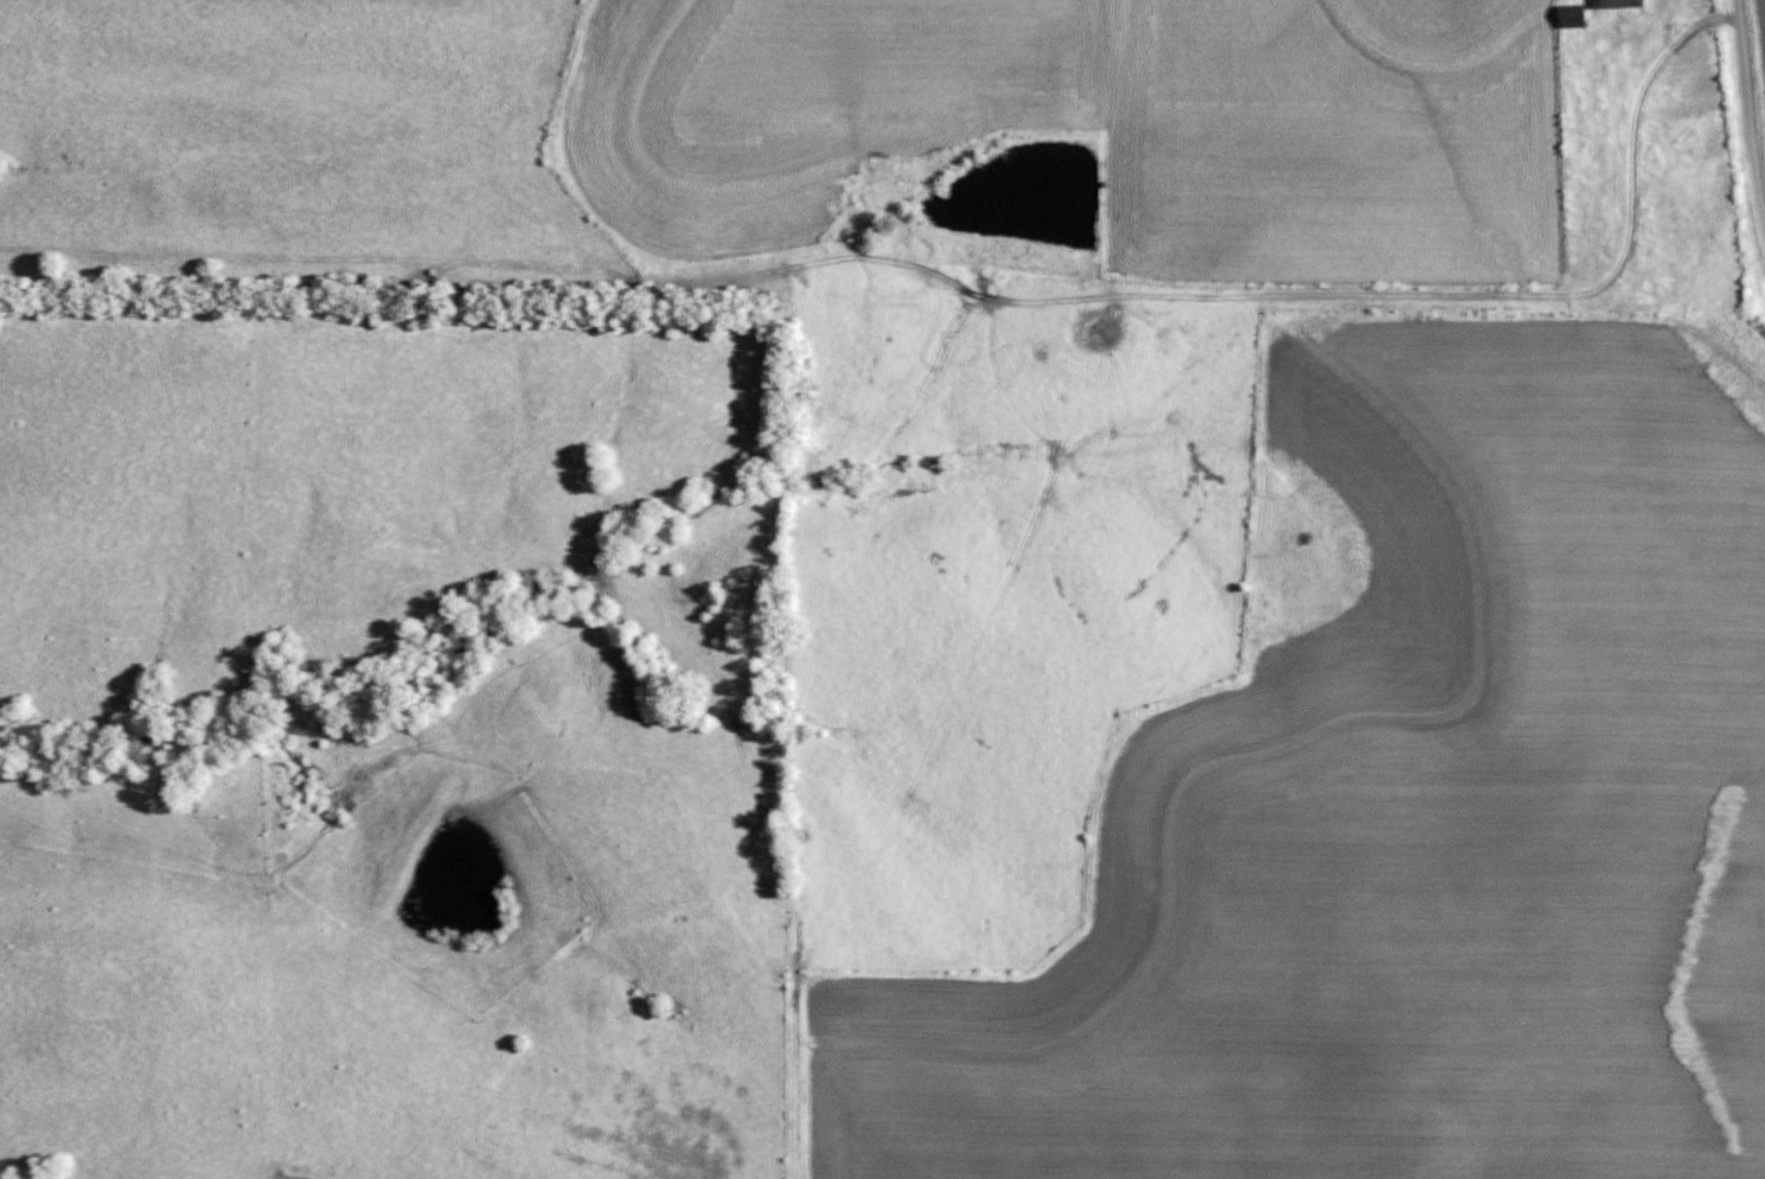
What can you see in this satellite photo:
building: (1612, 2)
building: (1569, 14)
road: (1751, 115)

